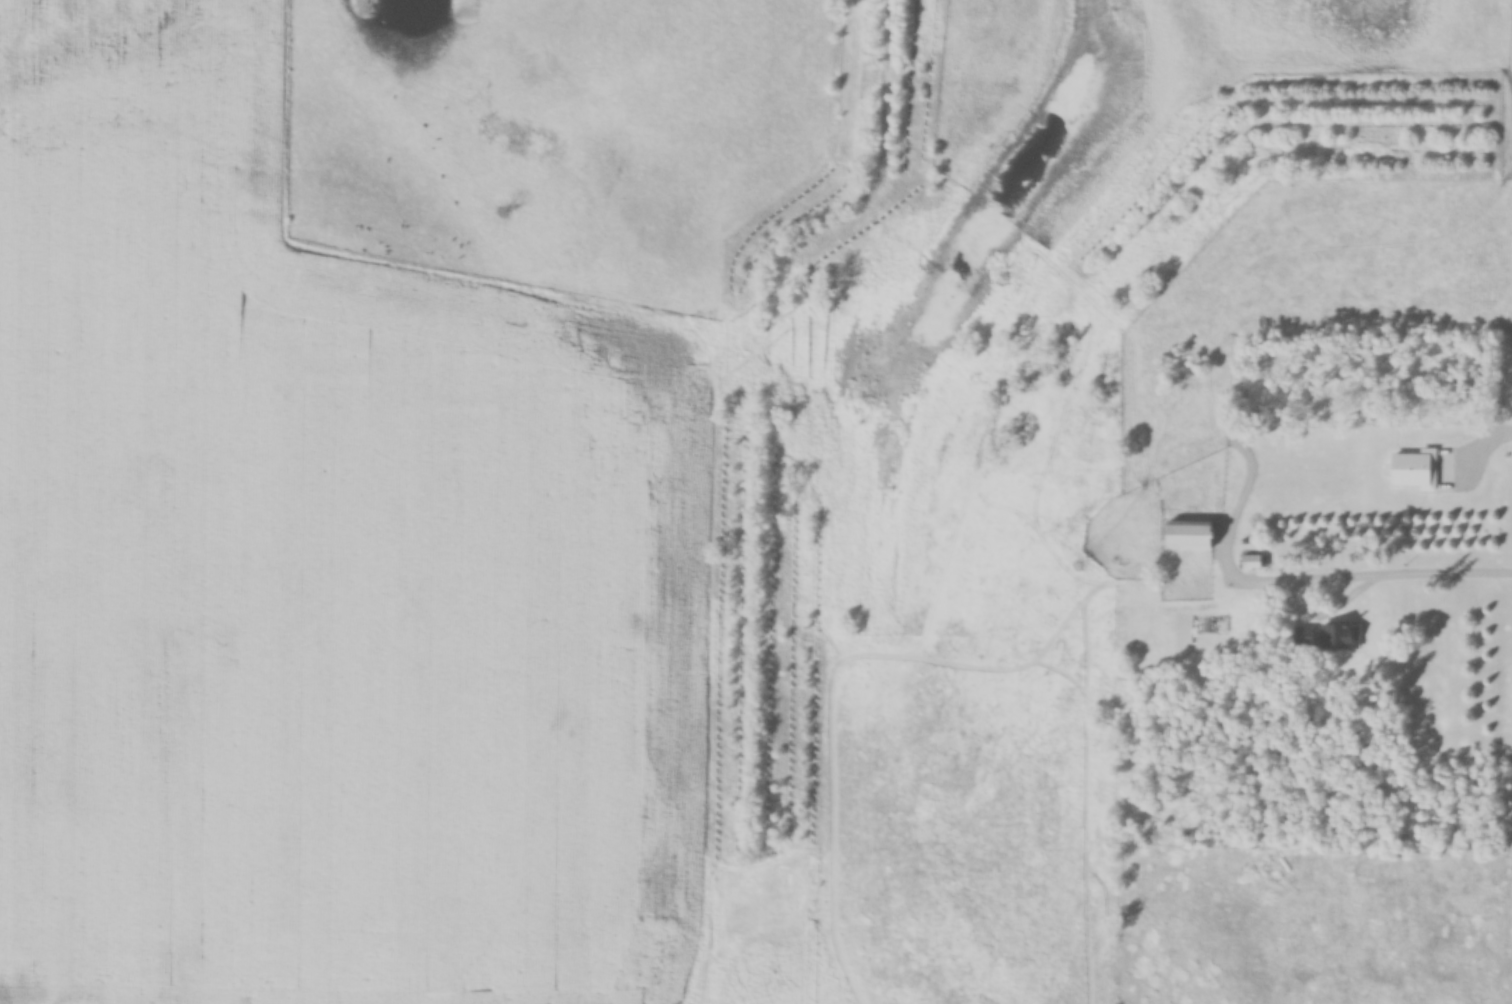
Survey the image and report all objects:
building: (1150, 484)
building: (1252, 563)
road: (1450, 572)
road: (1291, 601)
building: (1327, 637)

